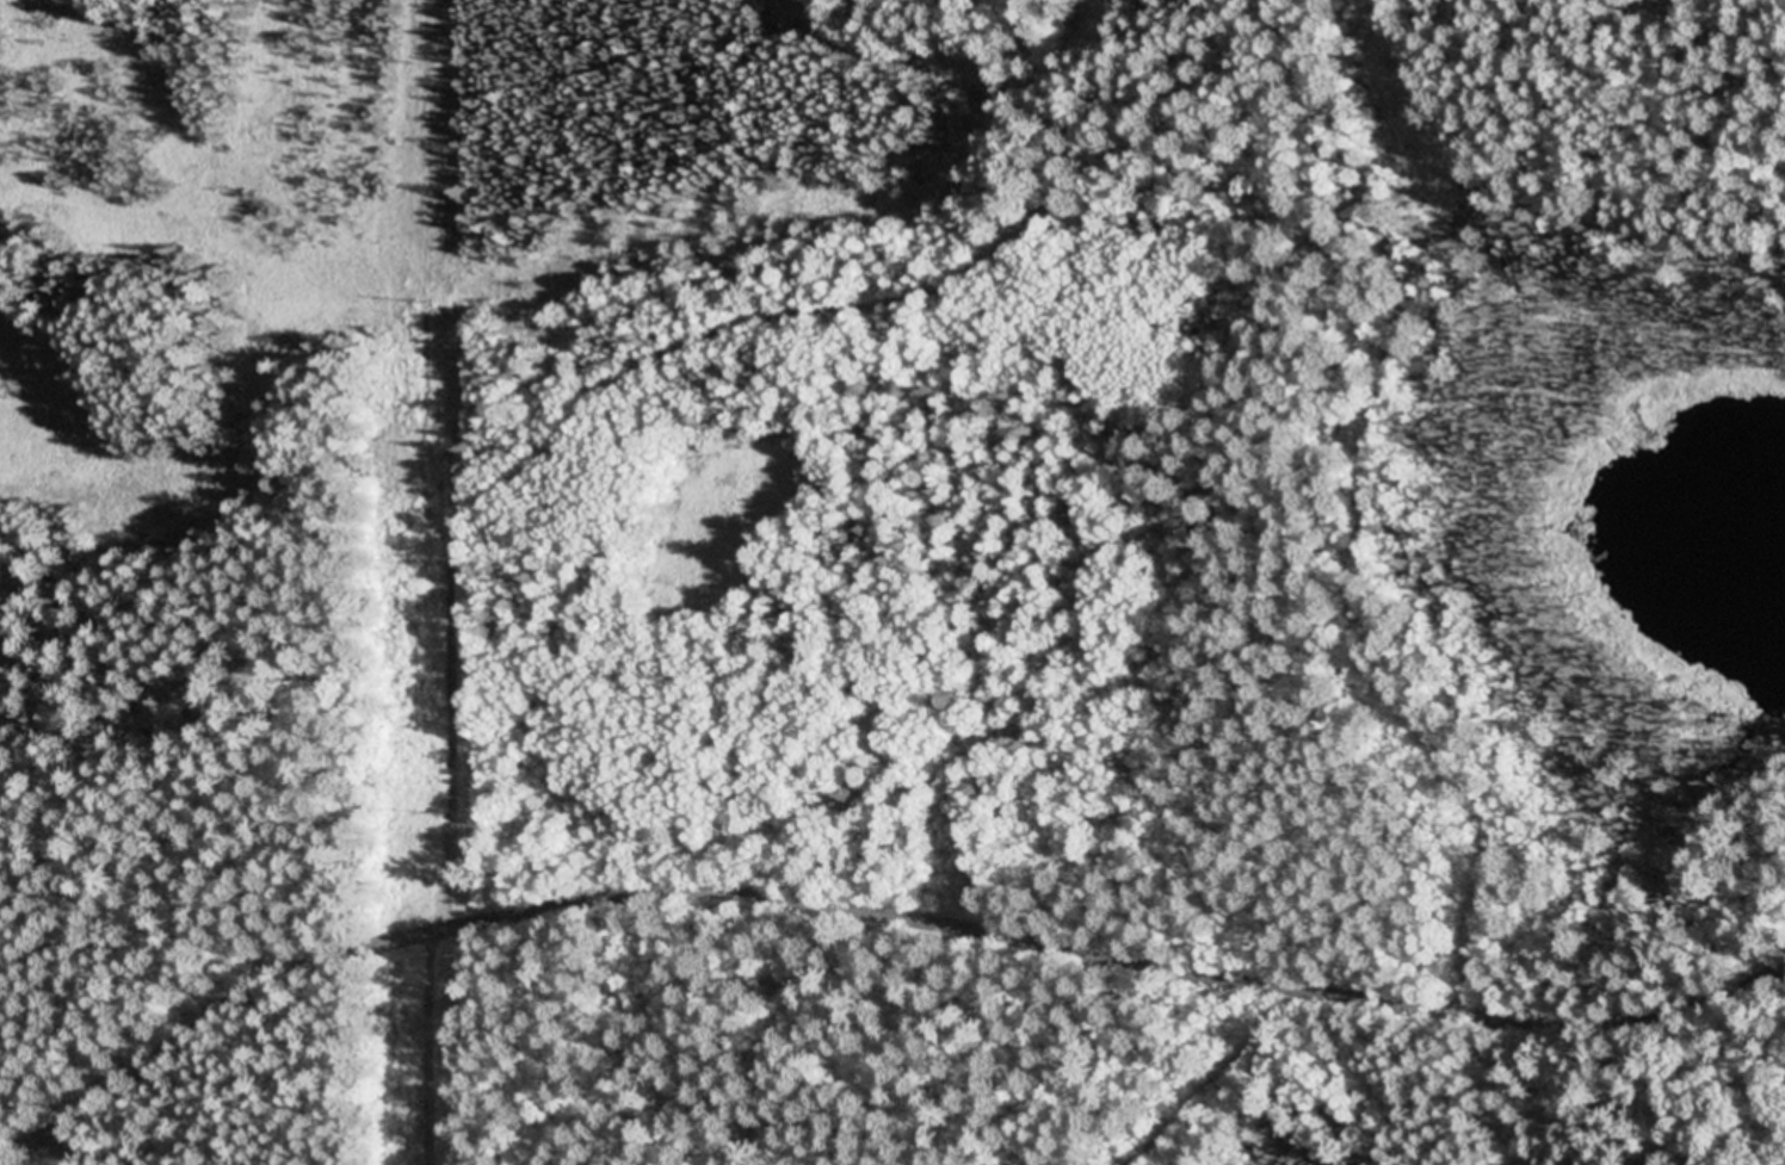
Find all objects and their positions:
road: (867, 903)

